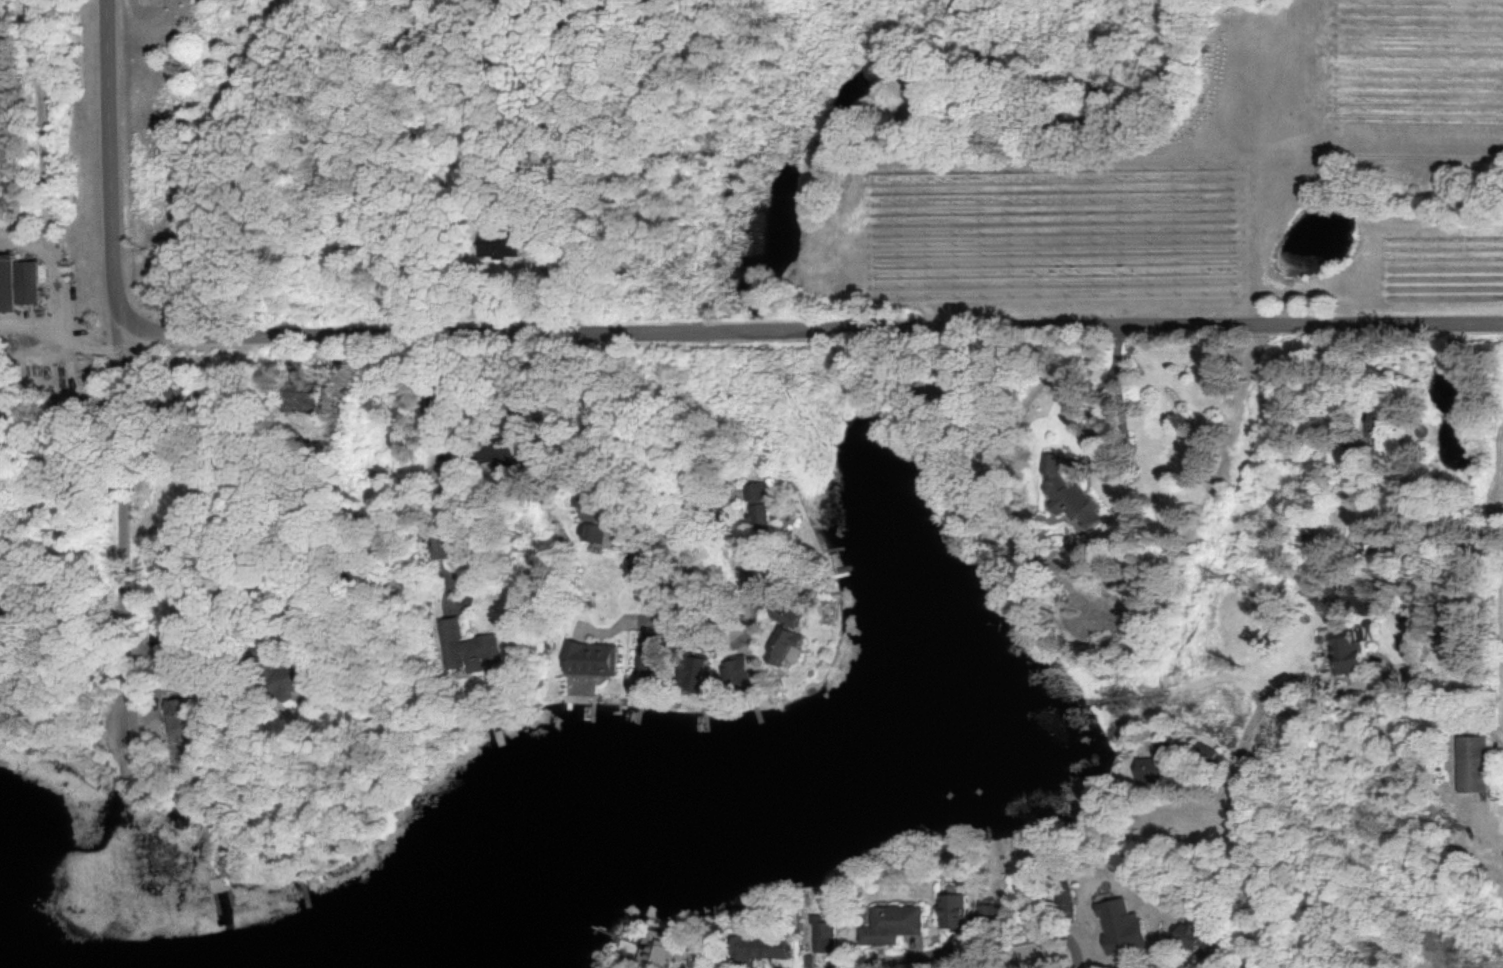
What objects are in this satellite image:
road: (41, 118)
road: (204, 156)
road: (111, 163)
building: (505, 245)
building: (17, 283)
road: (59, 285)
road: (816, 332)
road: (65, 337)
road: (1110, 383)
building: (299, 398)
building: (1375, 425)
building: (497, 451)
building: (1067, 495)
road: (121, 505)
building: (758, 506)
building: (582, 510)
road: (424, 511)
building: (589, 533)
road: (448, 554)
road: (679, 623)
building: (784, 635)
building: (466, 647)
building: (1346, 653)
building: (588, 659)
building: (644, 666)
building: (690, 672)
building: (735, 673)
building: (287, 683)
building: (181, 715)
building: (1471, 764)
building: (1147, 770)
road: (1239, 786)
road: (1490, 824)
building: (1062, 903)
building: (986, 909)
building: (952, 910)
building: (890, 924)
building: (1119, 926)
building: (822, 935)
building: (1192, 938)
building: (660, 948)
building: (756, 948)
road: (945, 950)
road: (1074, 952)

